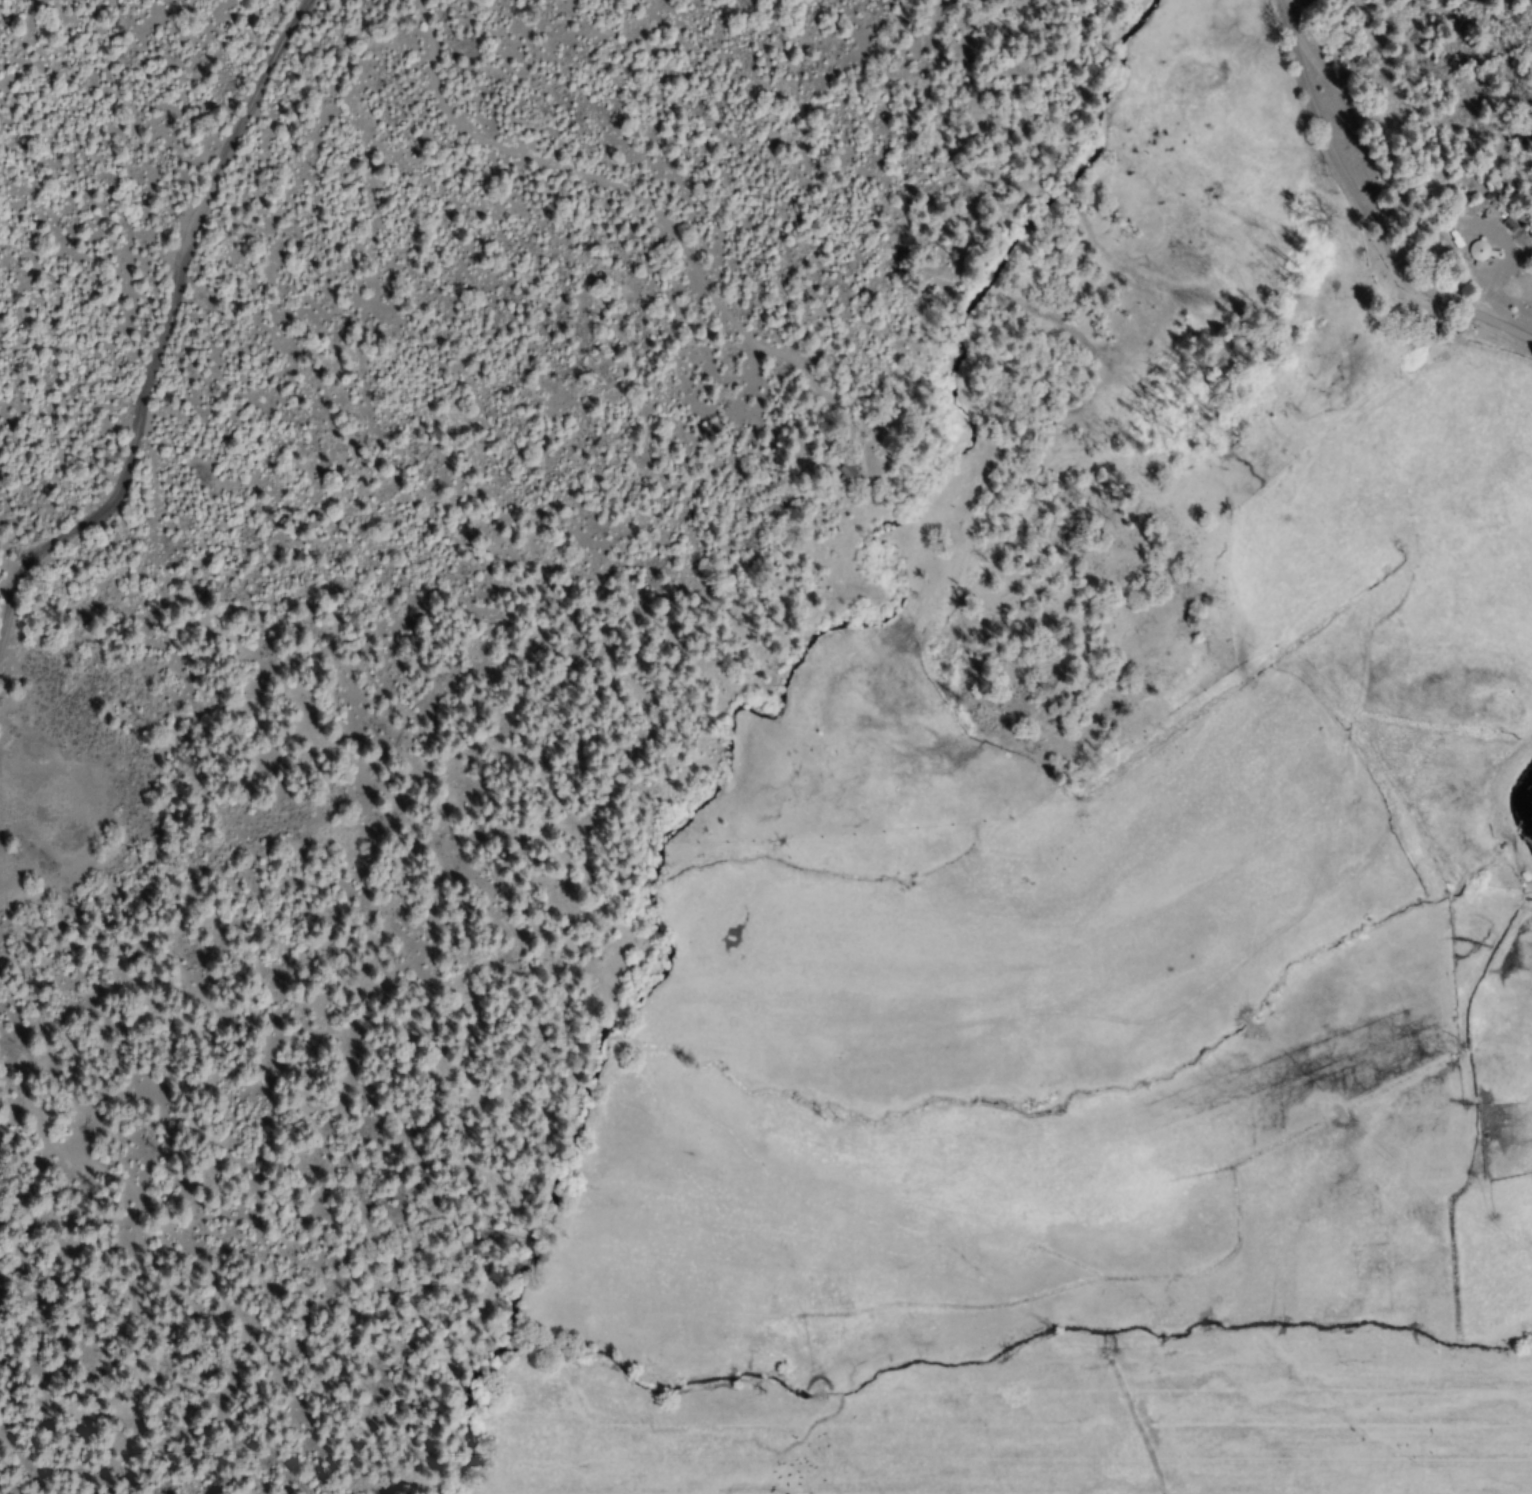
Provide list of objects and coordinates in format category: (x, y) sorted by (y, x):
road: (1404, 75)
road: (144, 369)

